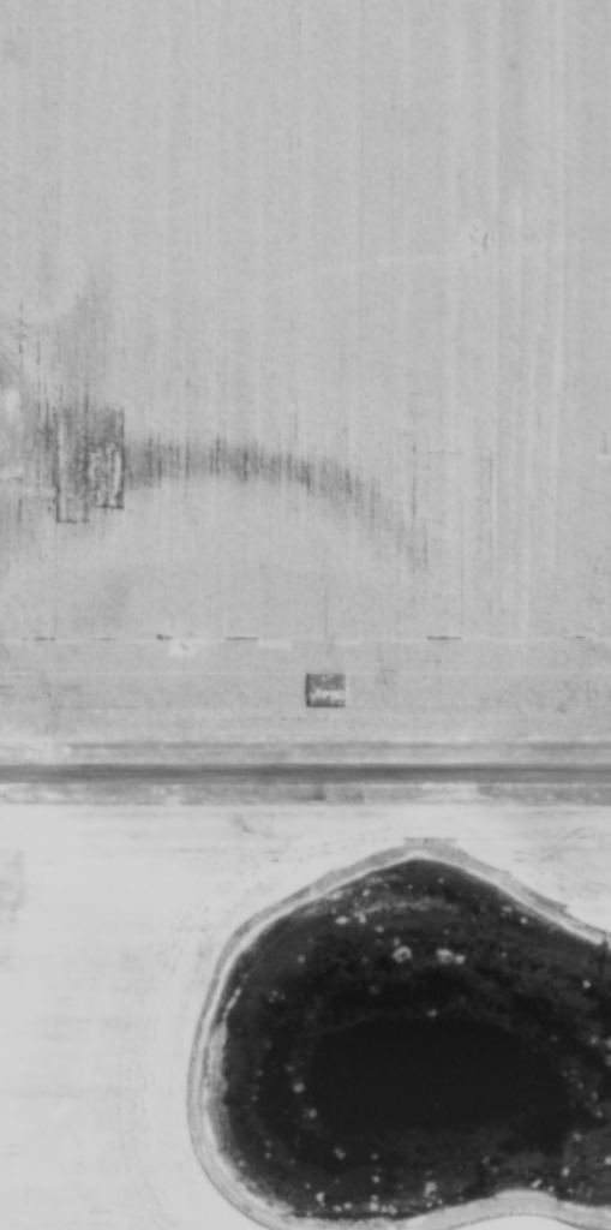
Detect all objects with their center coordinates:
road: (305, 769)

